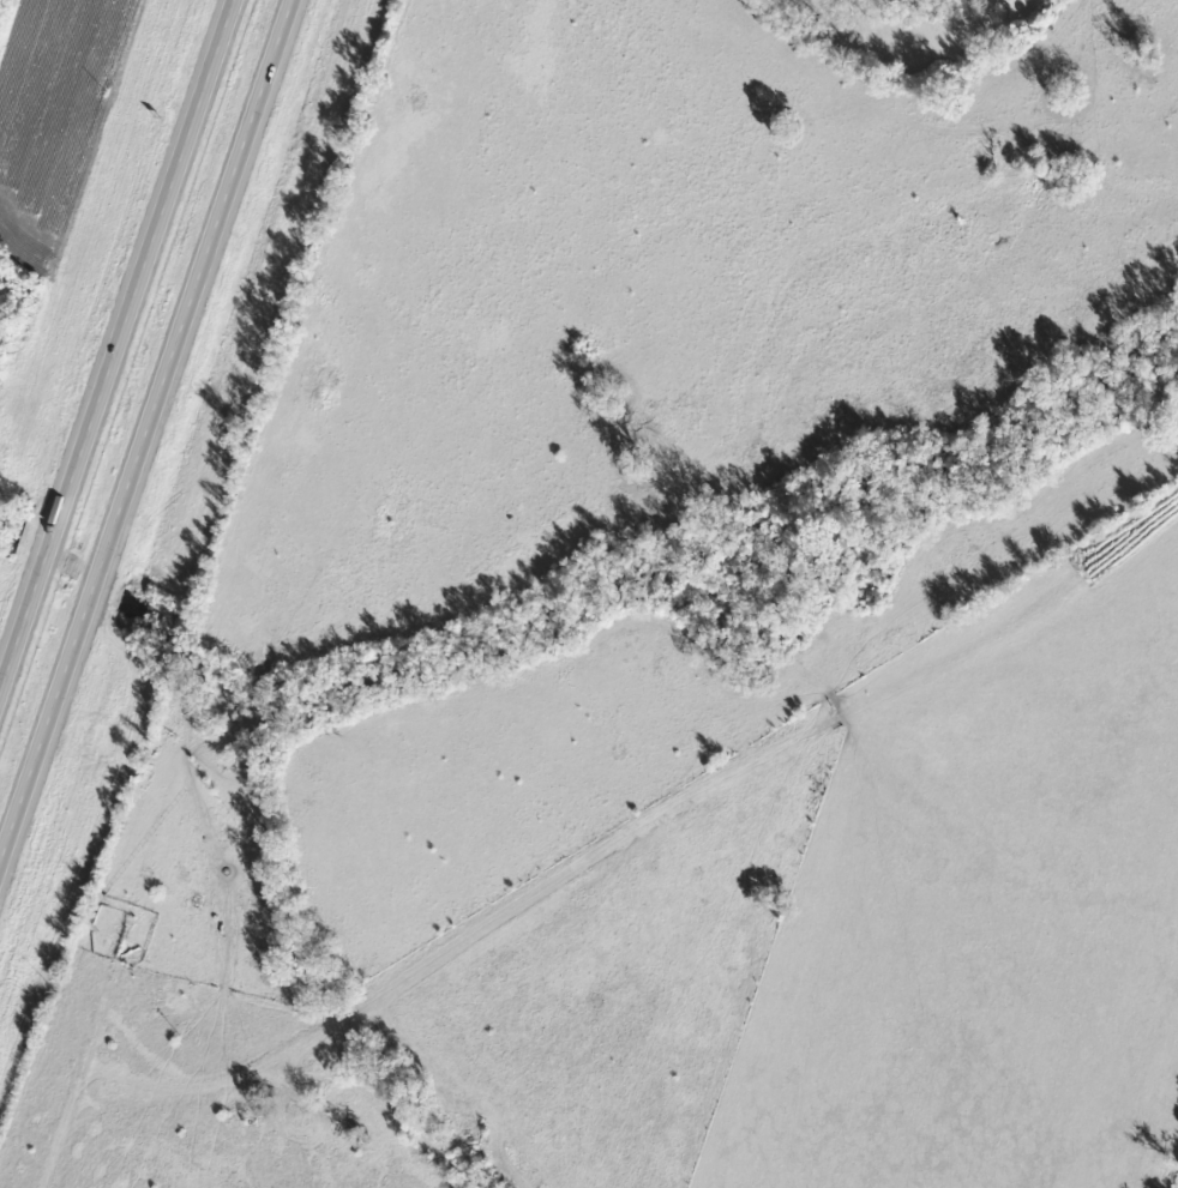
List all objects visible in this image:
road: (116, 344)
road: (146, 432)

